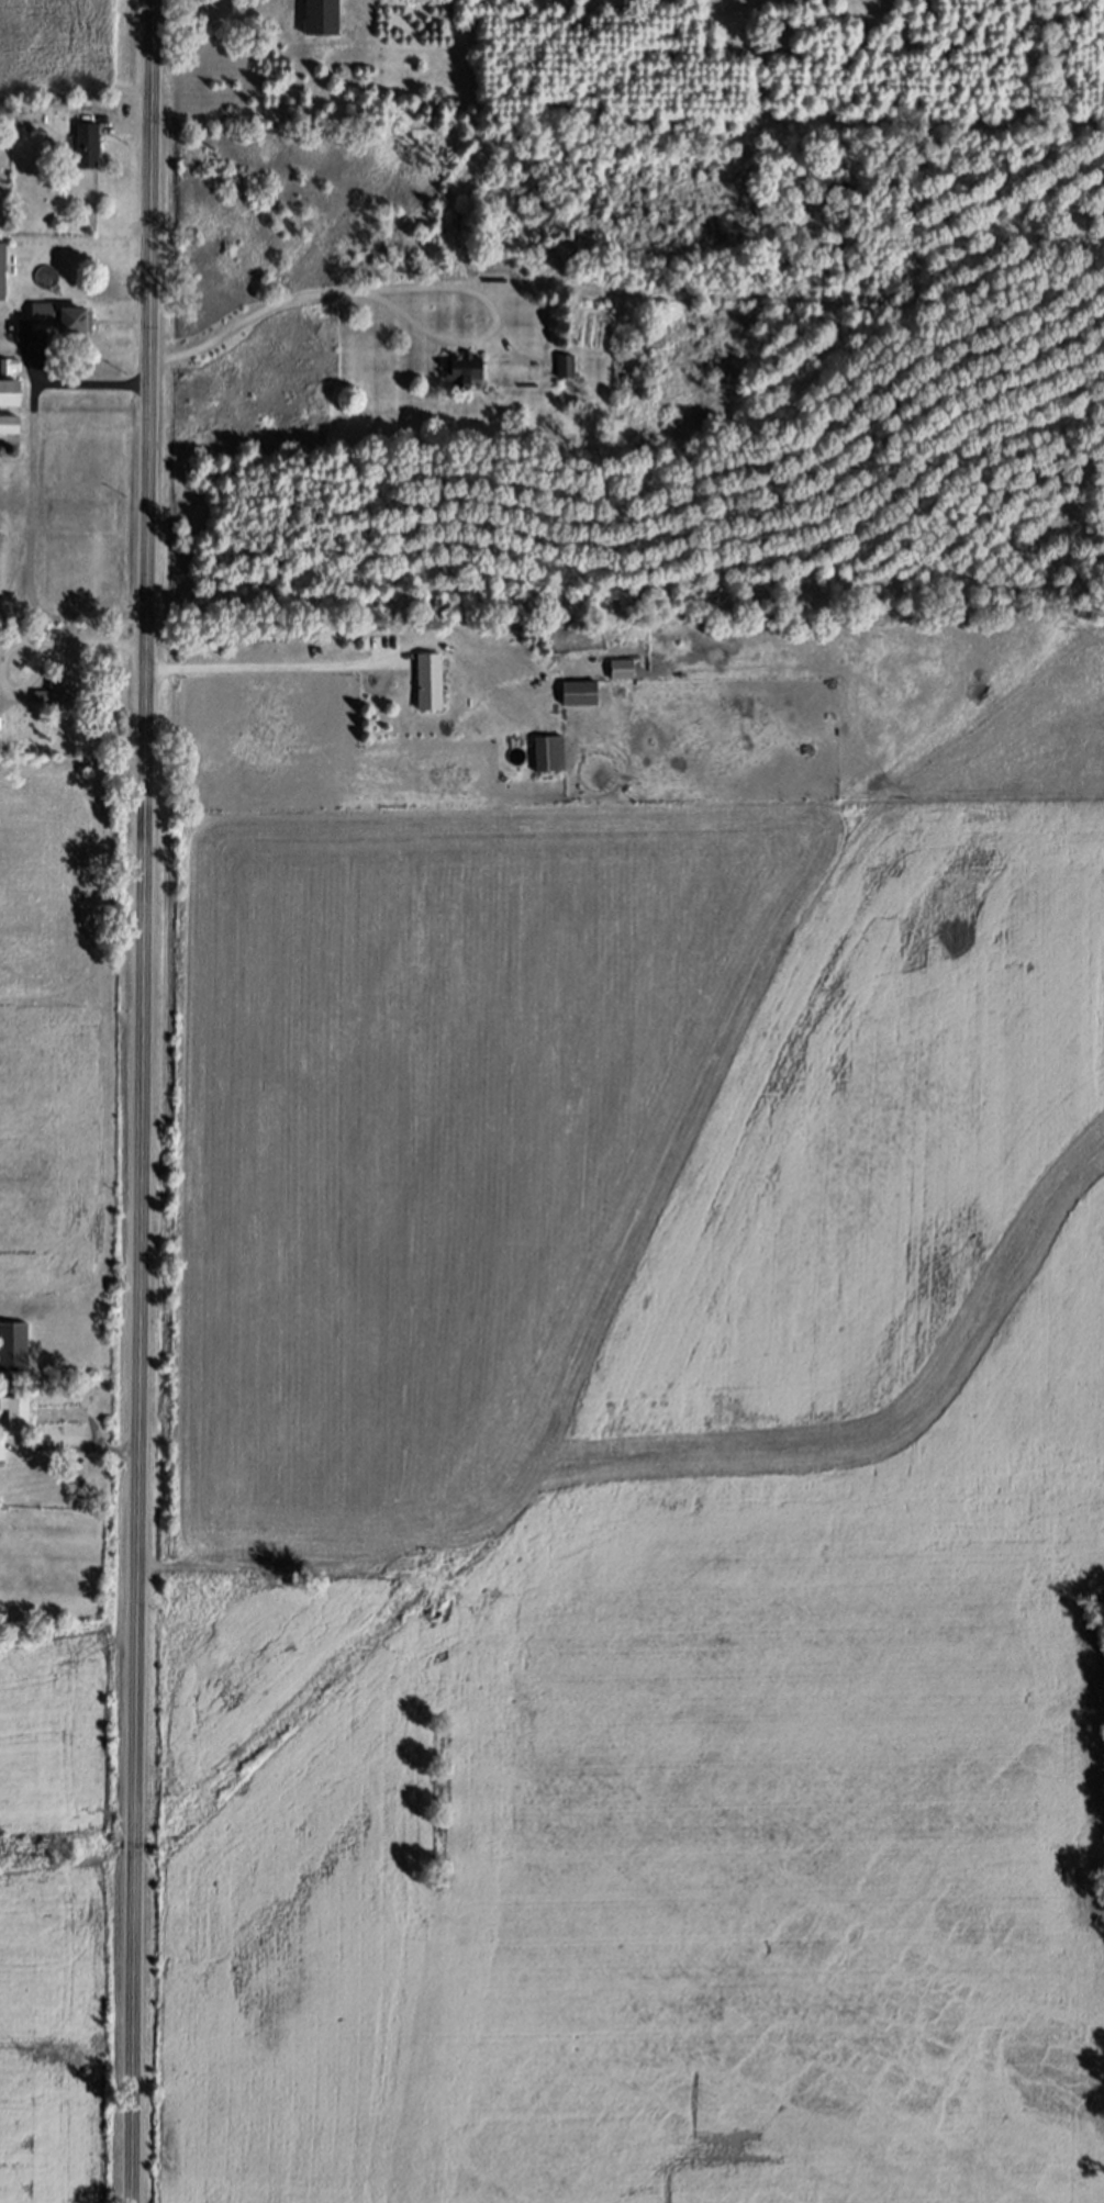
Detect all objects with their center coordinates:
building: (313, 16)
building: (88, 144)
building: (4, 269)
road: (399, 289)
building: (62, 316)
building: (561, 365)
building: (455, 369)
building: (12, 423)
building: (0, 660)
building: (615, 667)
building: (424, 678)
building: (572, 691)
building: (56, 692)
building: (544, 751)
road: (142, 1101)
building: (14, 1343)
building: (18, 1410)
building: (2, 1445)

